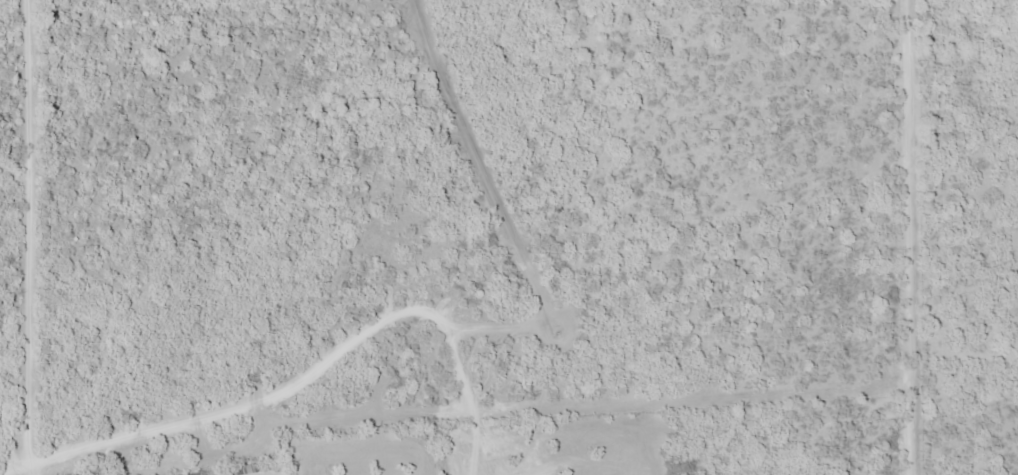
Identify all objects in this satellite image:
road: (30, 237)

